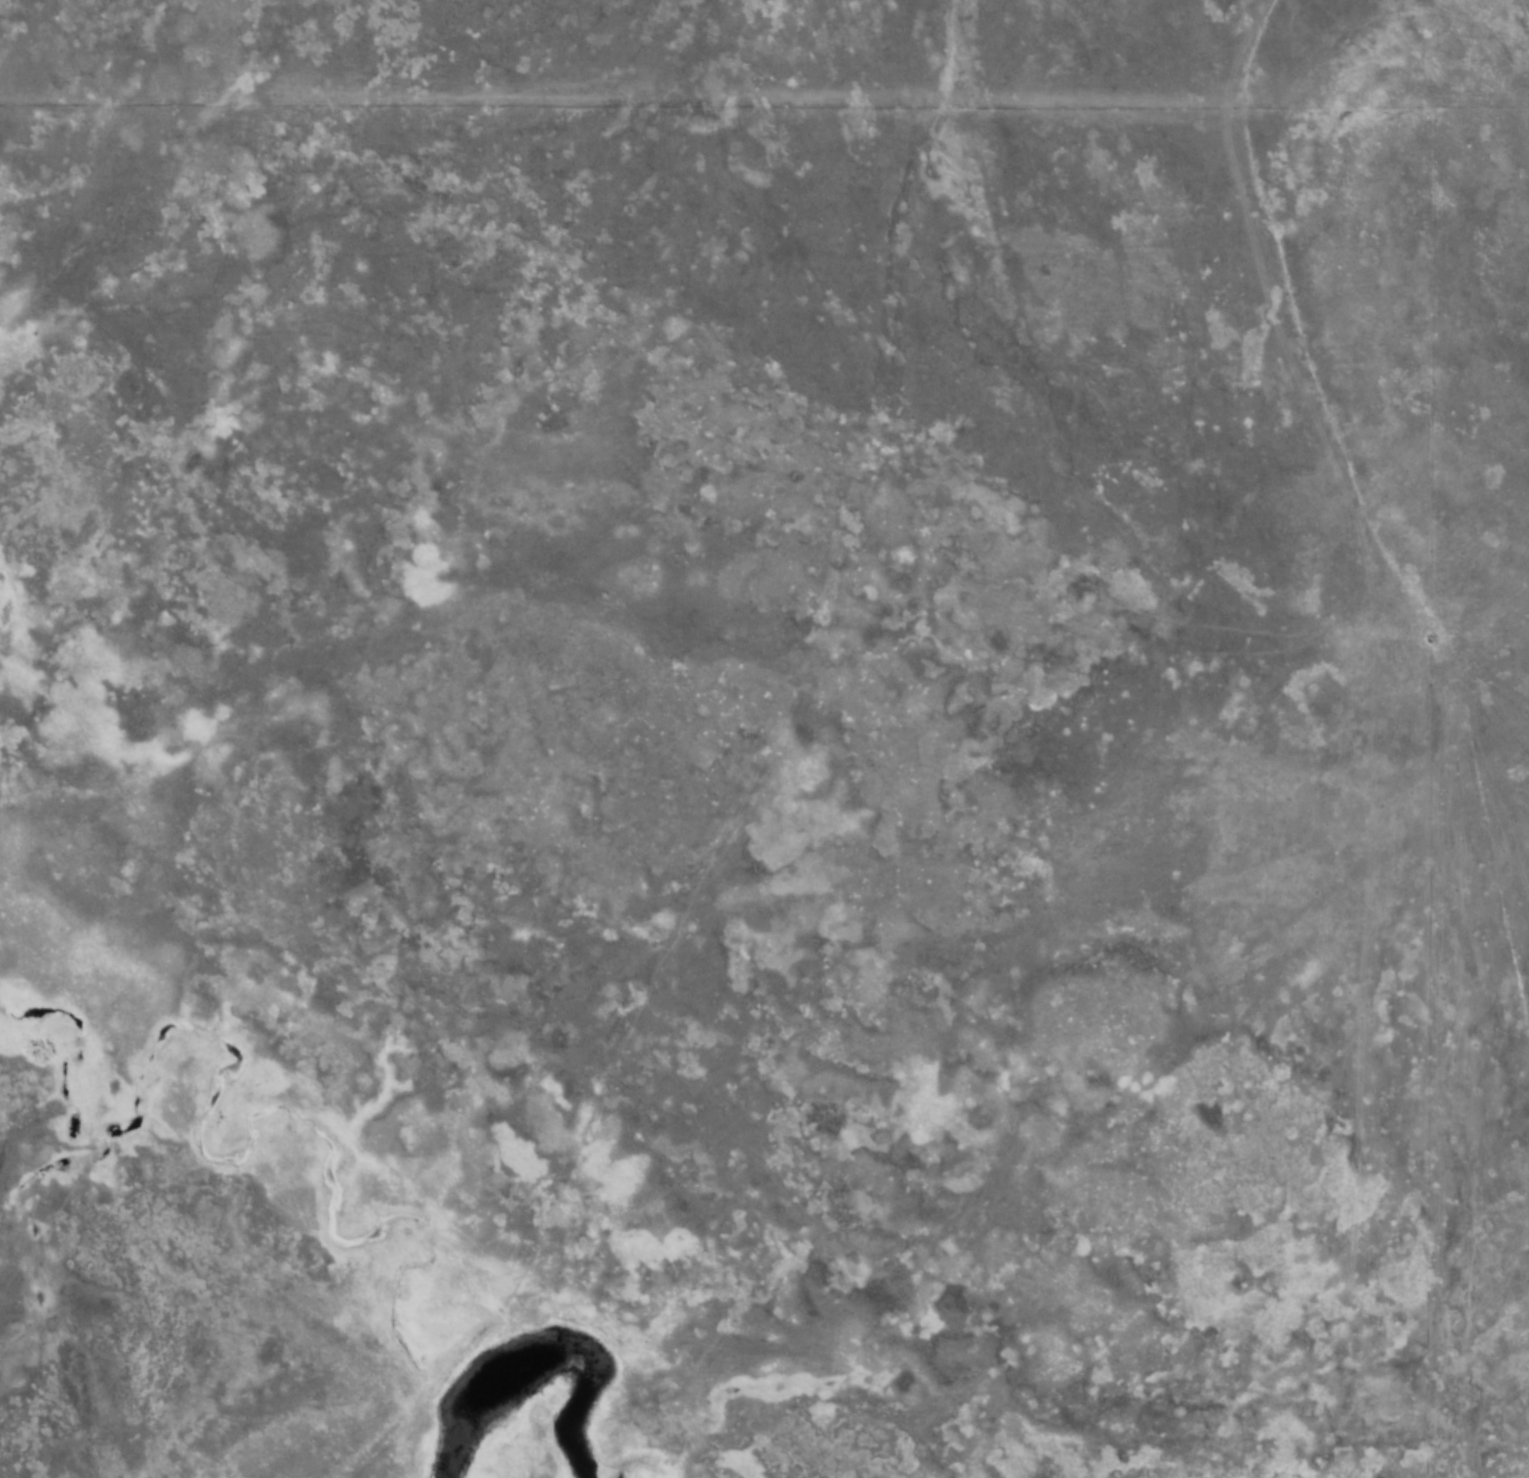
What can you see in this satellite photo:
dam: (451, 1361)

